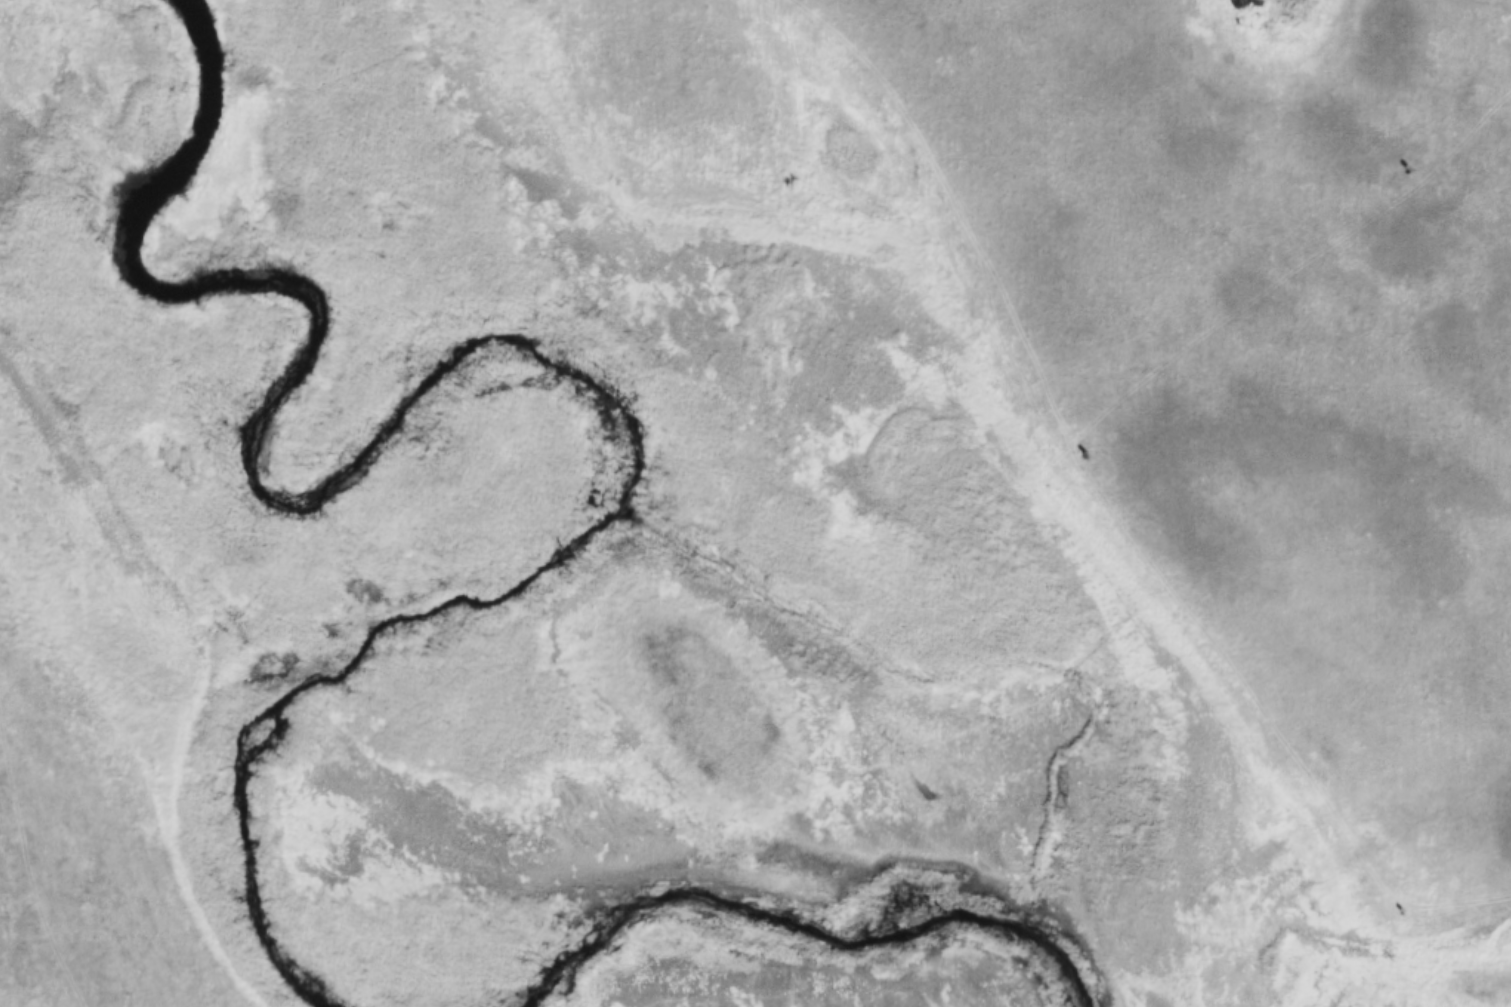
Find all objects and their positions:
river: (503, 332)
river: (791, 888)

